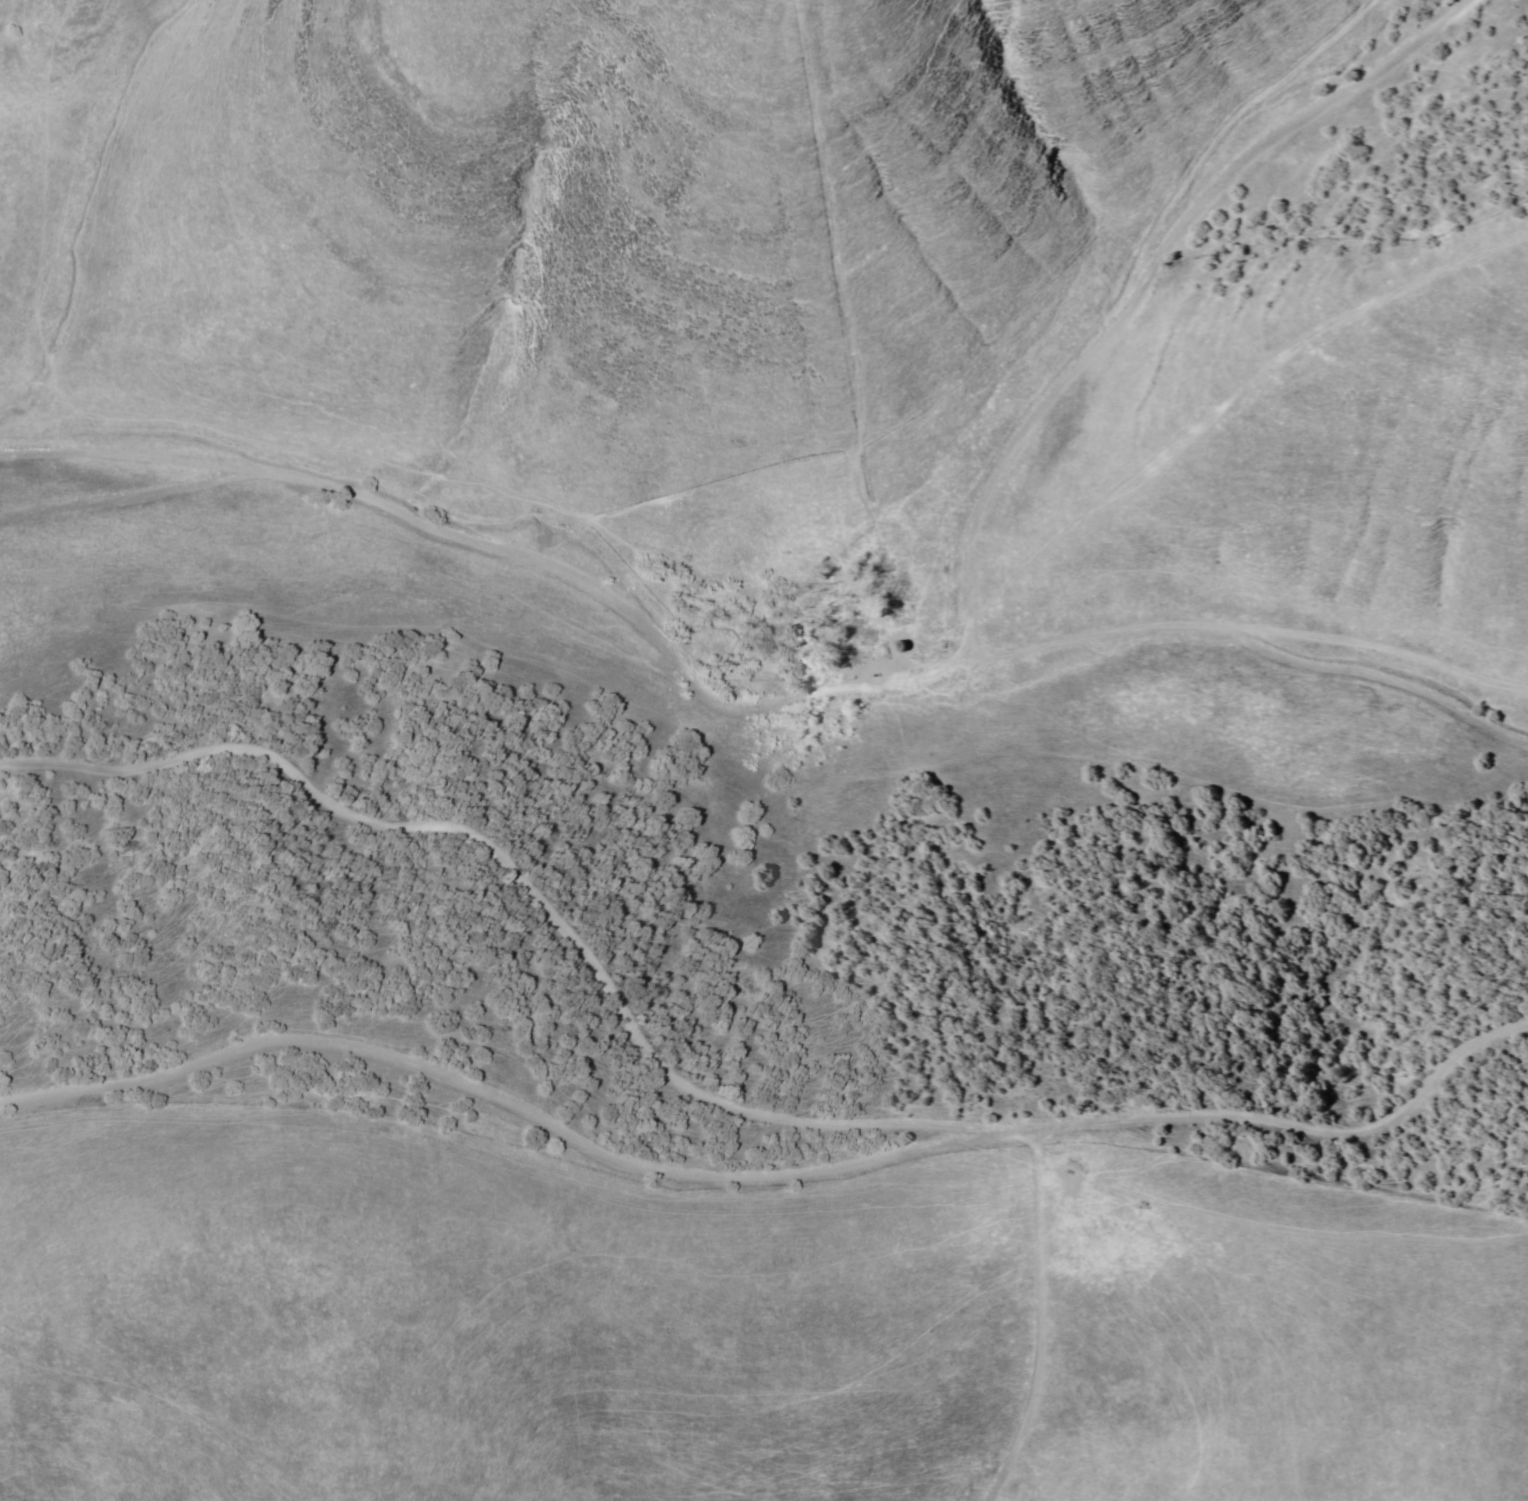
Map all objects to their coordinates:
road: (1174, 292)
road: (749, 727)
road: (715, 1096)
road: (442, 1099)

